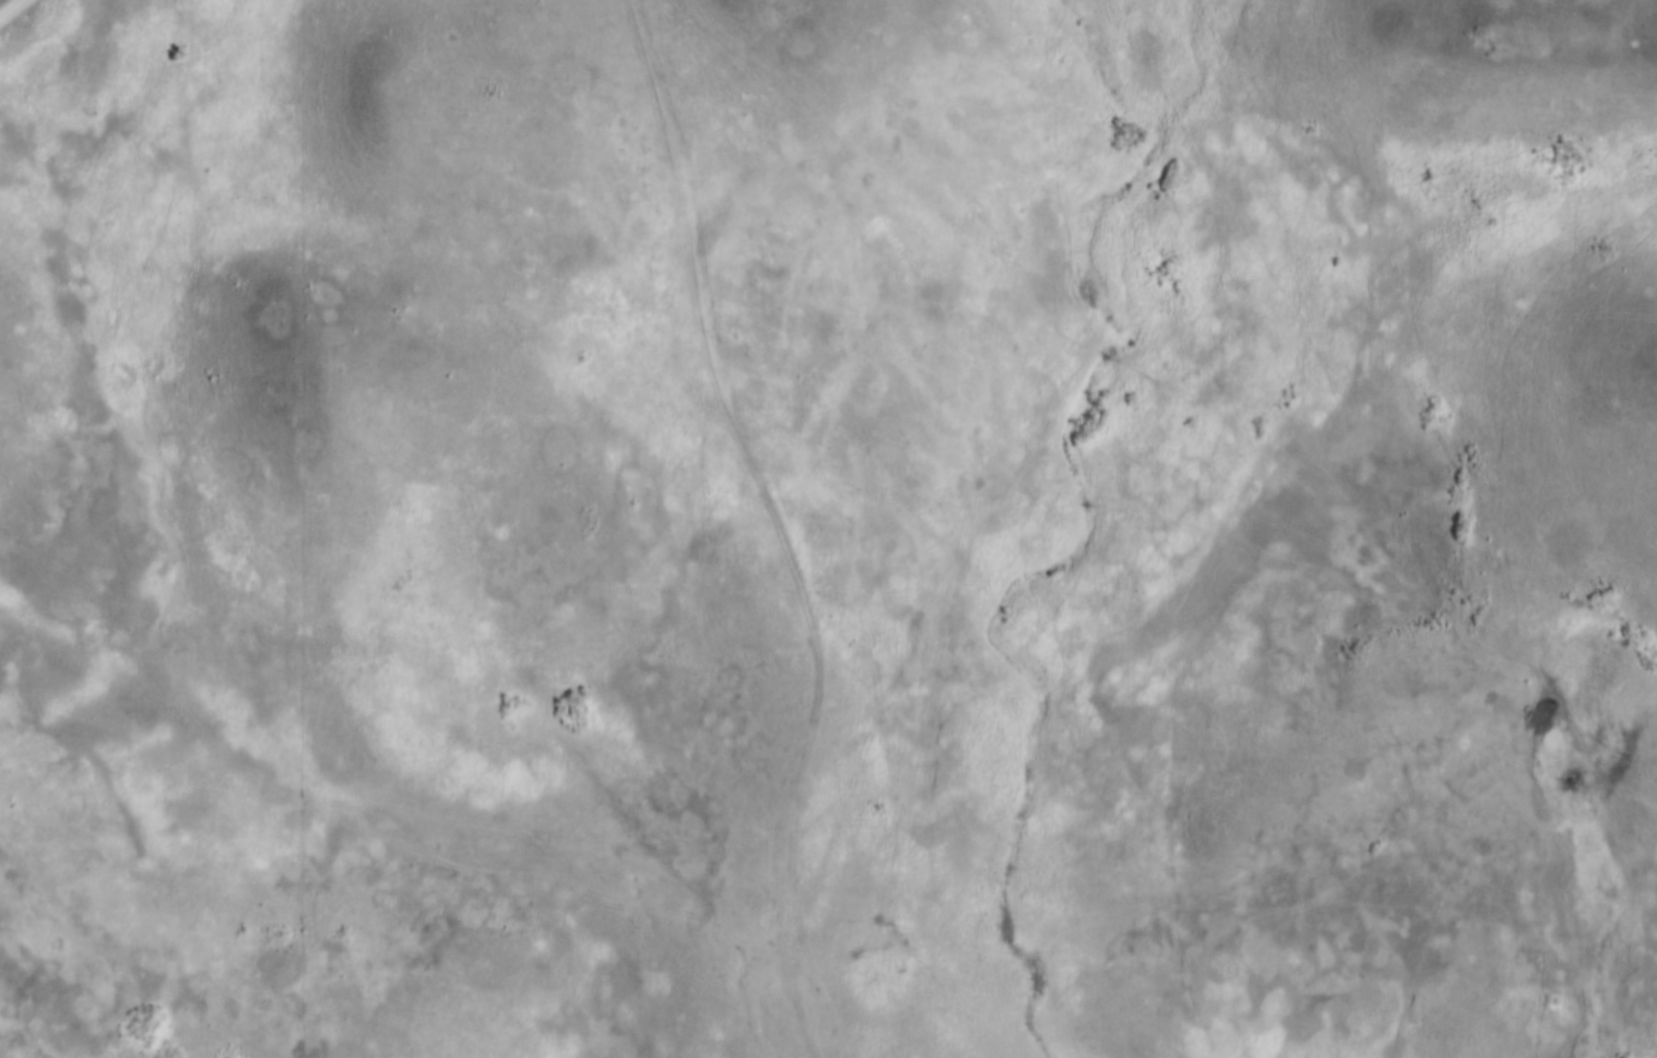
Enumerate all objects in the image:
road: (11, 8)
road: (777, 524)
road: (1505, 728)

